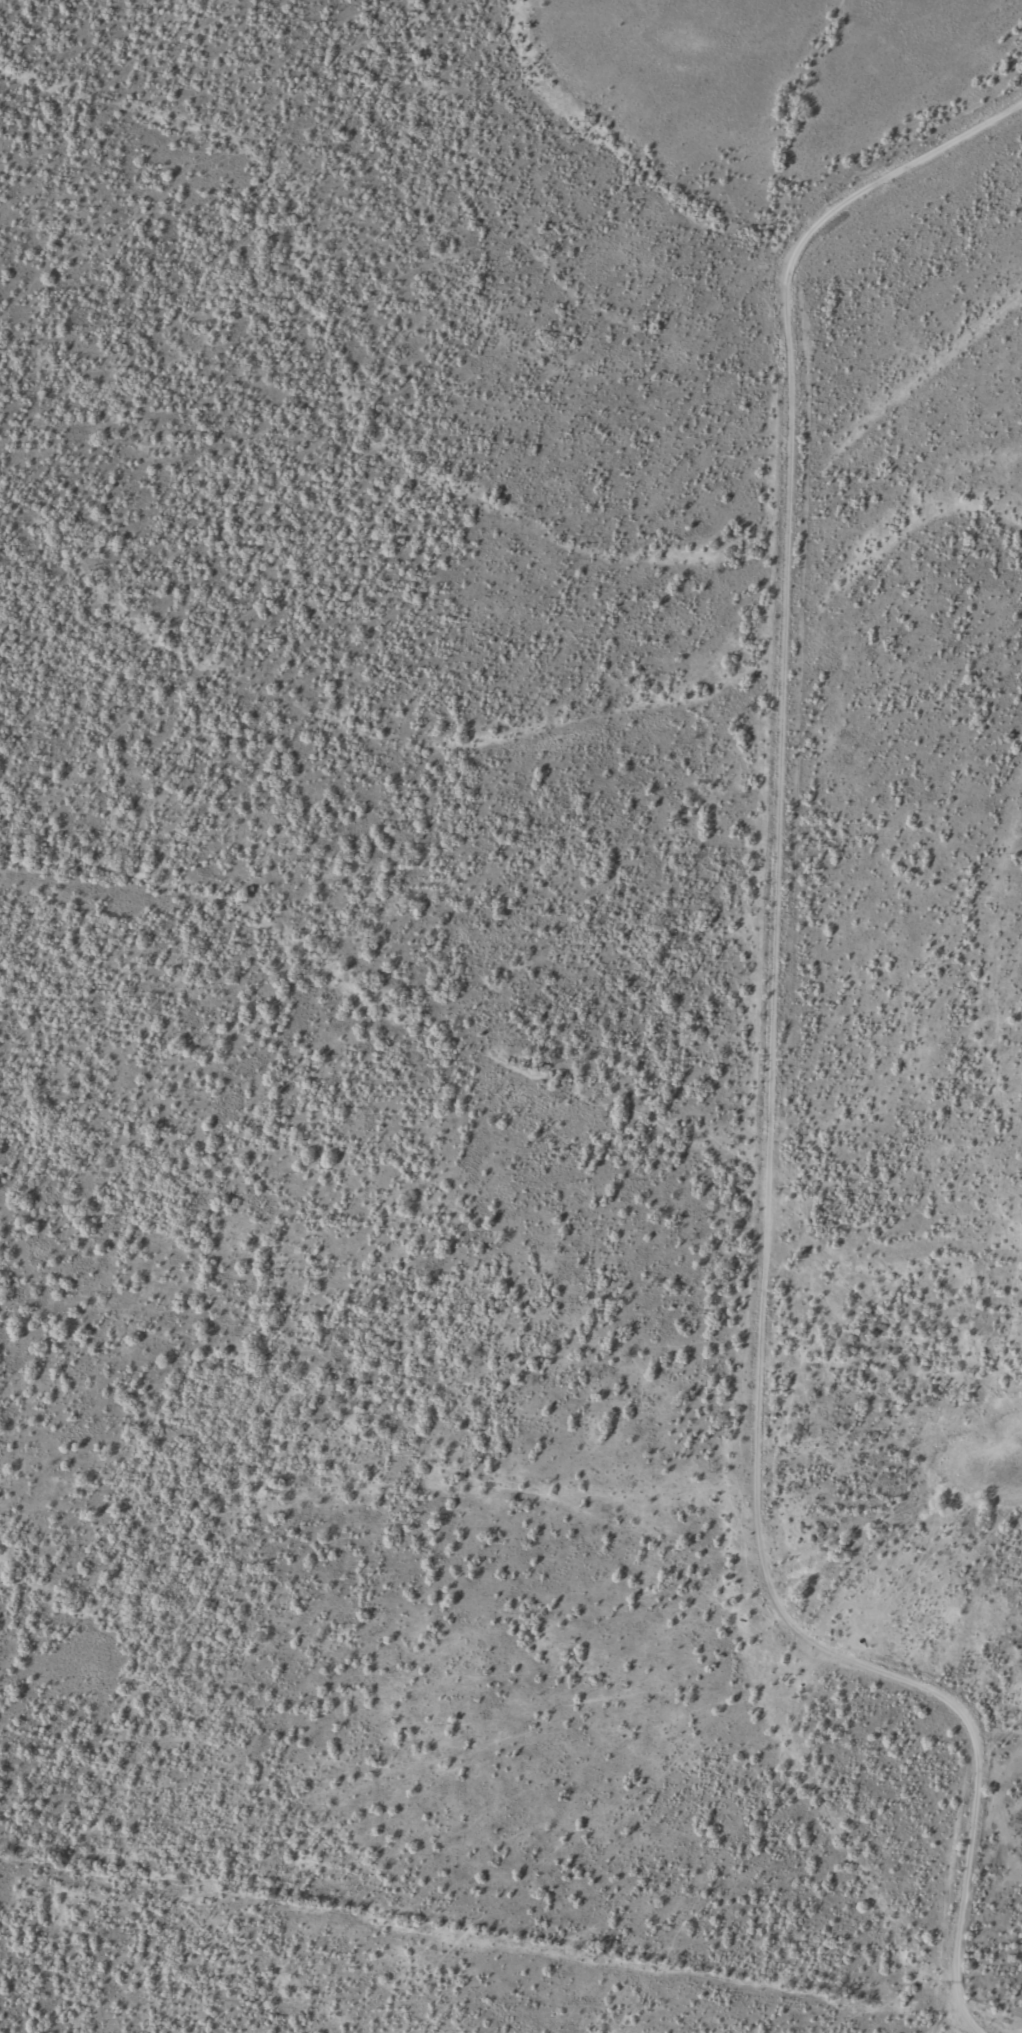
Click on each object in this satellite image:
road: (753, 1064)
road: (889, 1288)

